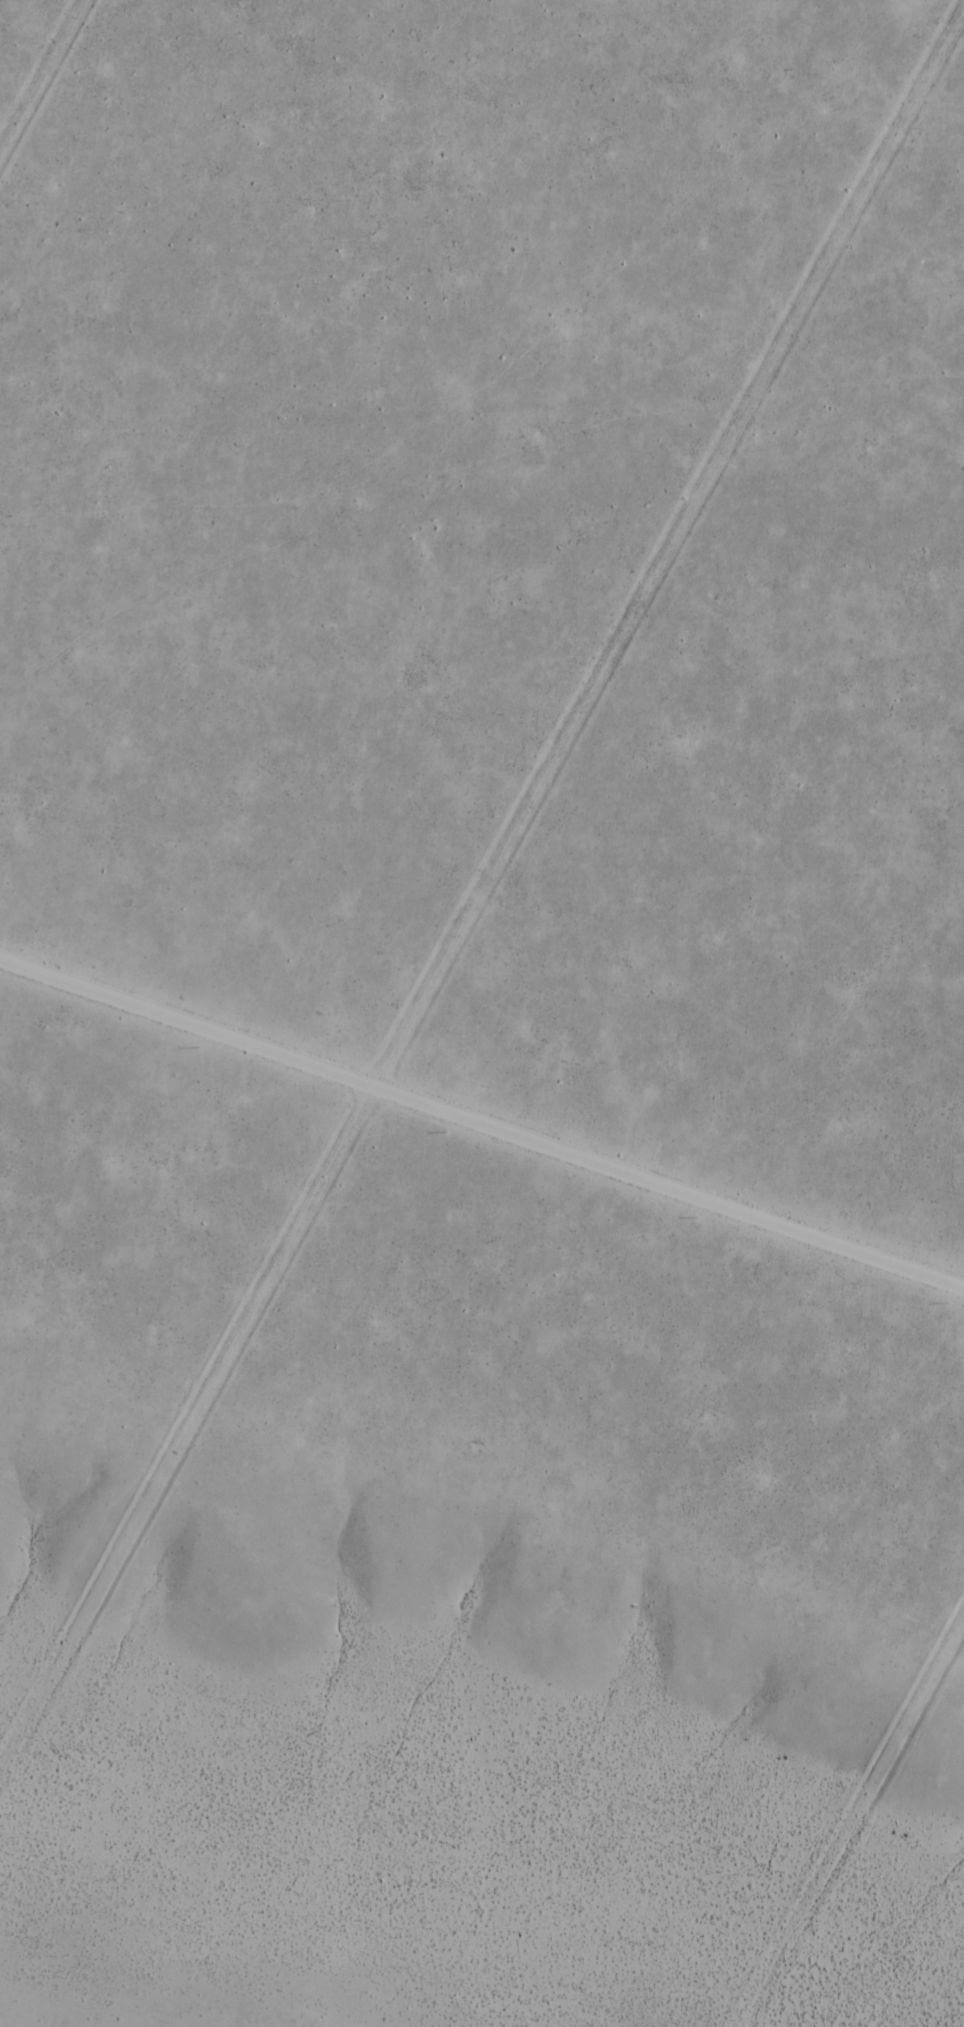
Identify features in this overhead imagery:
road: (44, 81)
road: (473, 895)
road: (481, 1130)
road: (857, 1827)

